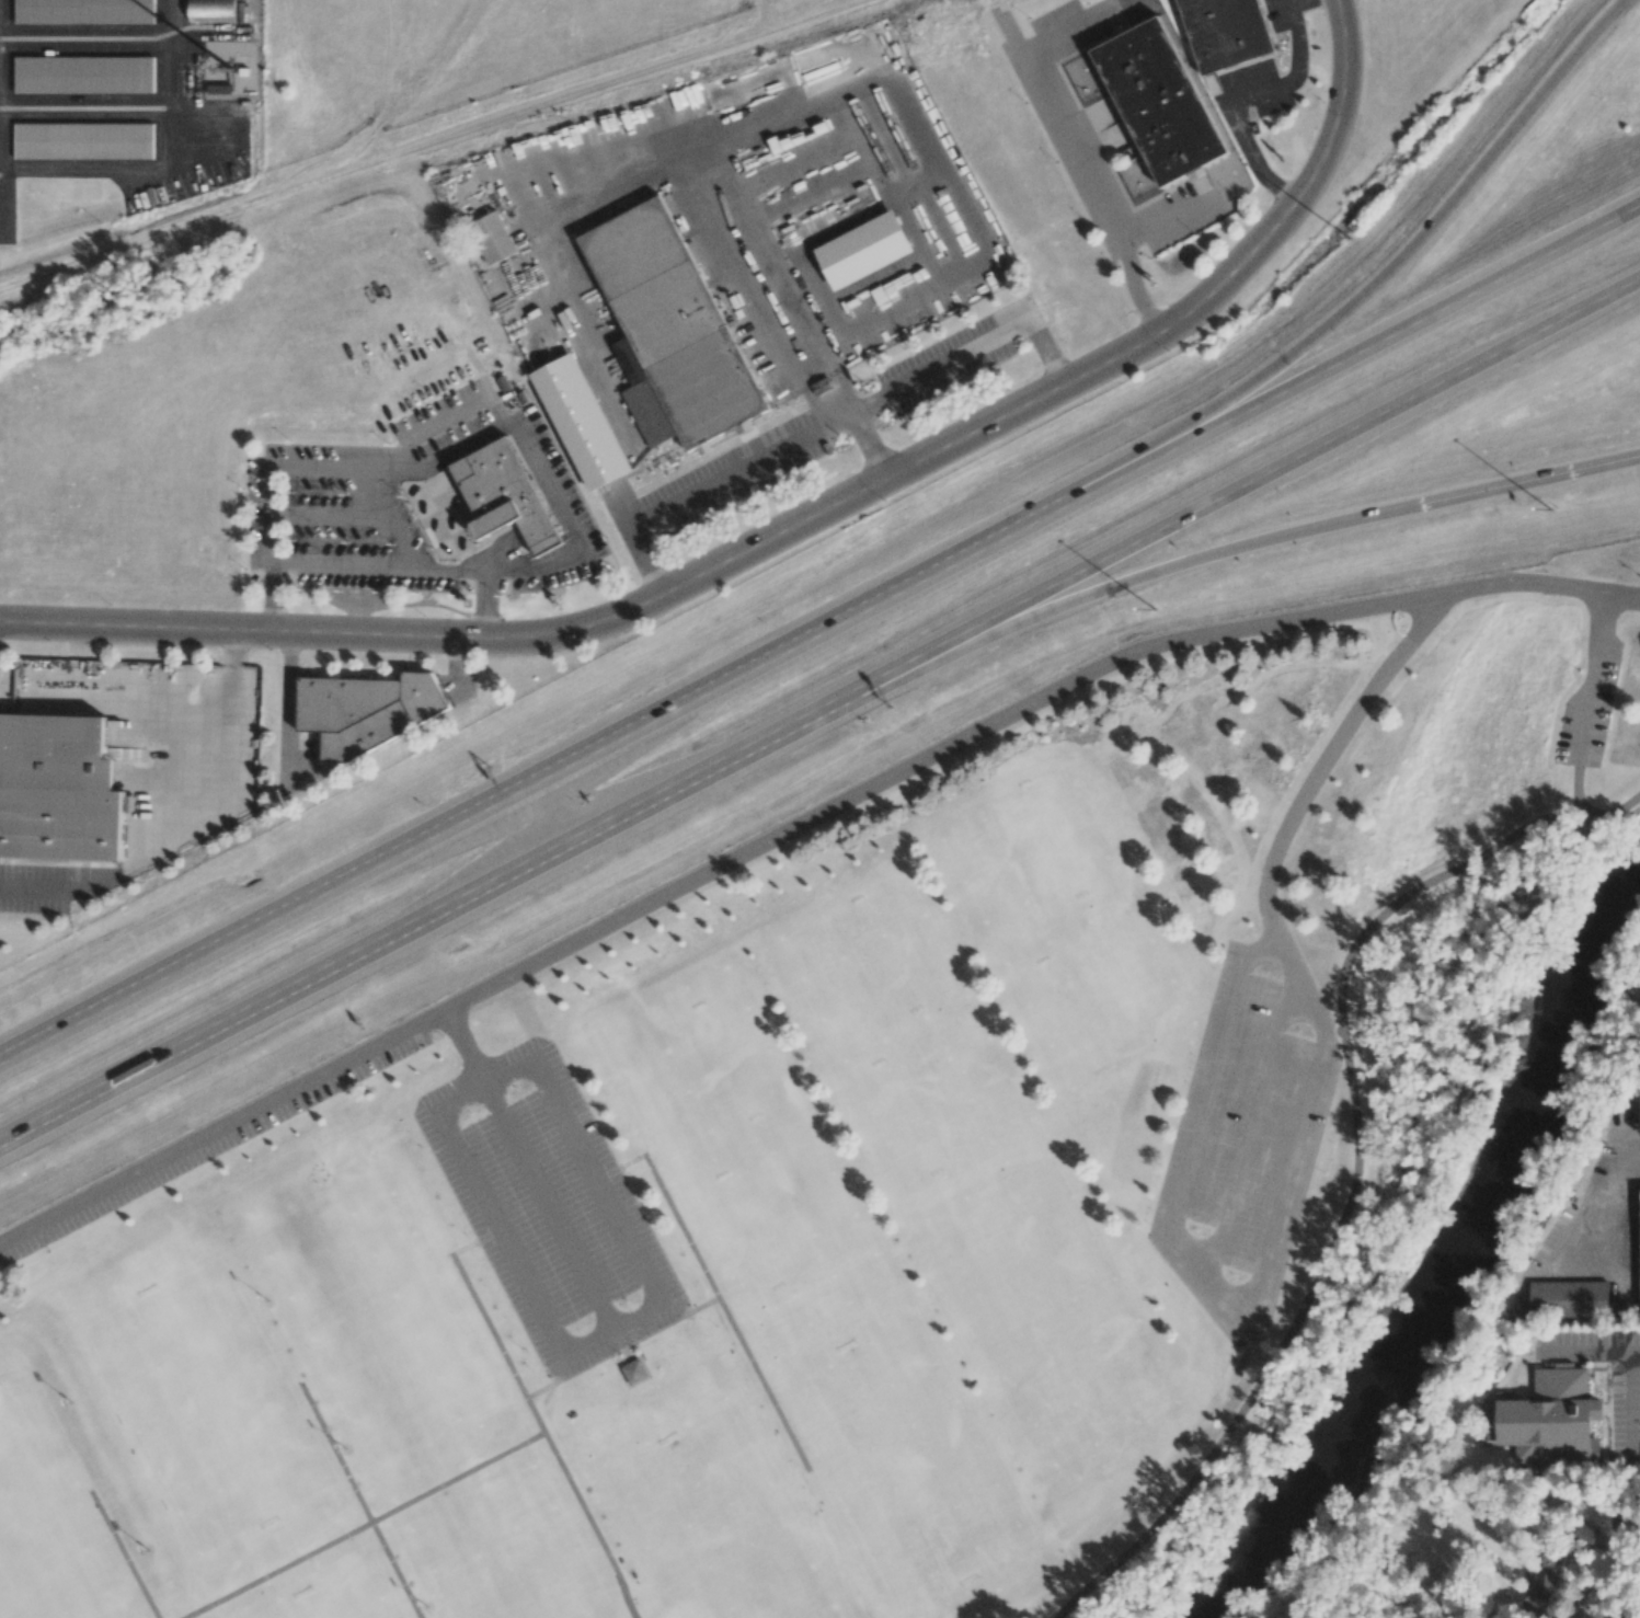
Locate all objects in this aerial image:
road: (1287, 2)
building: (84, 11)
building: (211, 11)
road: (1342, 26)
building: (1226, 32)
building: (83, 74)
building: (752, 83)
road: (1252, 97)
building: (1160, 103)
building: (83, 140)
road: (1080, 158)
street lamp: (1347, 236)
building: (493, 239)
building: (865, 251)
road: (1371, 287)
building: (672, 333)
road: (1350, 357)
road: (827, 421)
building: (582, 424)
road: (867, 445)
road: (461, 448)
road: (1575, 470)
road: (1239, 487)
building: (504, 496)
street lamp: (1550, 508)
road: (769, 539)
road: (377, 566)
road: (1167, 566)
road: (1624, 595)
street lamp: (1154, 608)
road: (457, 664)
road: (1594, 676)
road: (294, 697)
parking lot: (1589, 703)
building: (366, 710)
road: (528, 780)
building: (58, 789)
road: (1575, 789)
road: (1300, 805)
road: (549, 812)
road: (1609, 814)
road: (191, 825)
road: (784, 835)
park: (1066, 911)
road: (420, 921)
park: (899, 1033)
road: (467, 1047)
road: (1248, 1123)
park: (874, 1135)
park: (737, 1139)
parking lot: (1241, 1155)
road: (1351, 1198)
road: (549, 1204)
parking lot: (549, 1208)
road: (1604, 1236)
river: (1454, 1259)
road: (1196, 1264)
road: (713, 1283)
building: (1564, 1299)
road: (708, 1305)
park: (380, 1318)
park: (1051, 1322)
road: (608, 1328)
road: (1594, 1351)
building: (635, 1372)
road: (538, 1391)
road: (1632, 1398)
park: (207, 1407)
building: (1550, 1421)
park: (893, 1443)
road: (477, 1467)
road: (1632, 1493)
road: (578, 1497)
road: (359, 1502)
park: (710, 1514)
park: (44, 1531)
building: (1584, 1531)
road: (124, 1554)
park: (514, 1561)
building: (1544, 1586)
road: (627, 1590)
park: (335, 1602)

